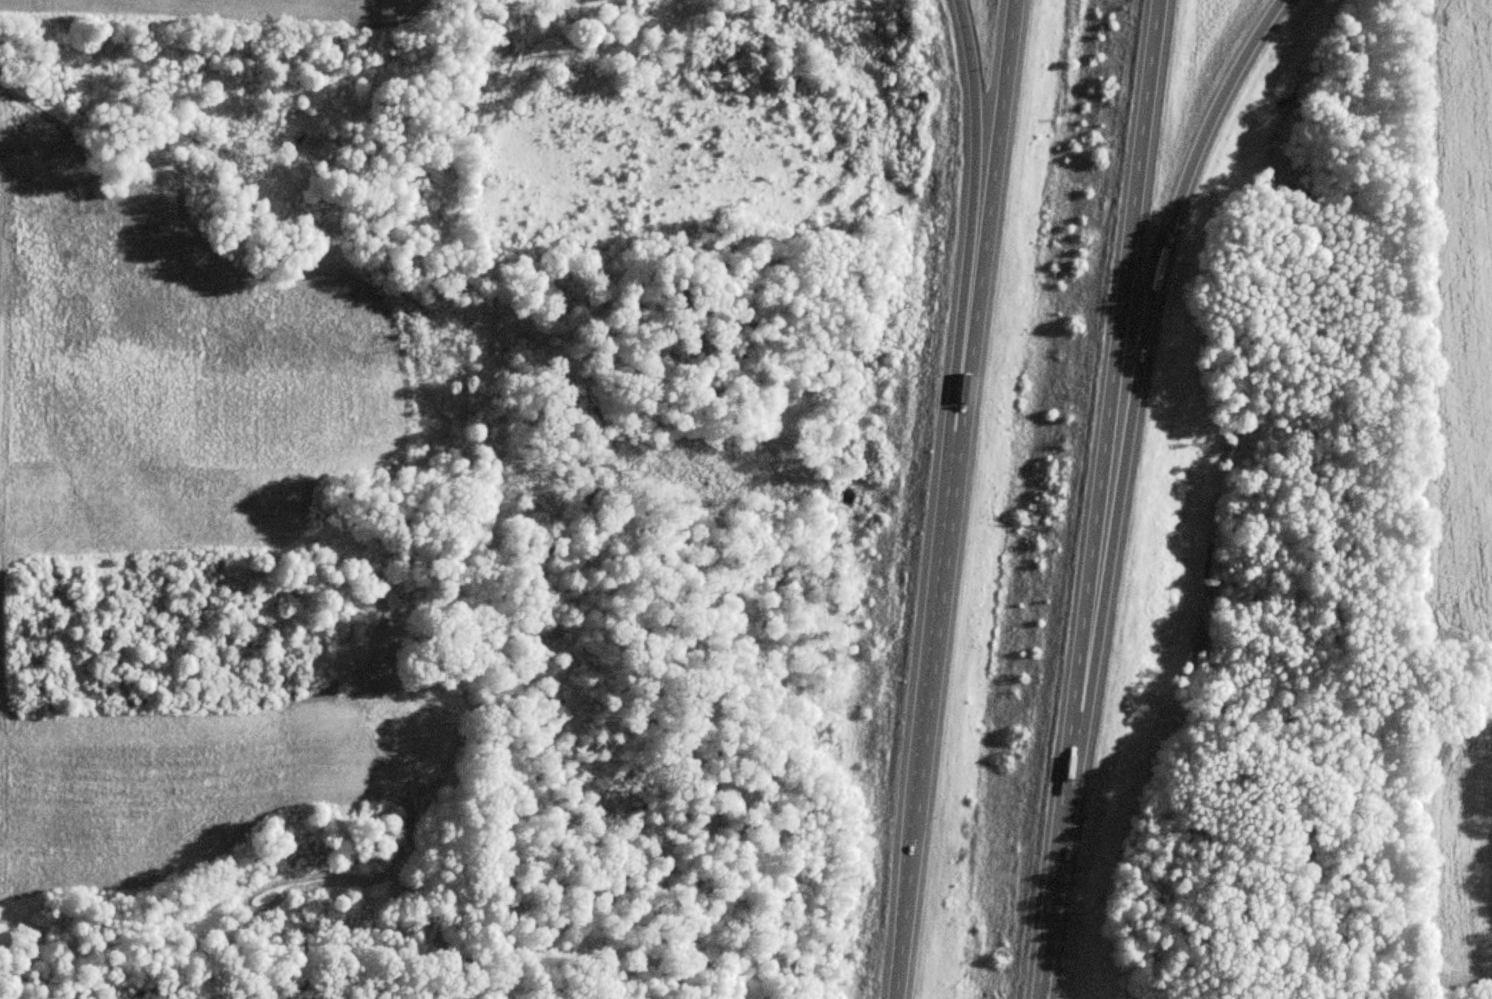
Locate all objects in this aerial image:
road: (968, 239)
road: (1135, 379)
road: (954, 499)
road: (1095, 499)

